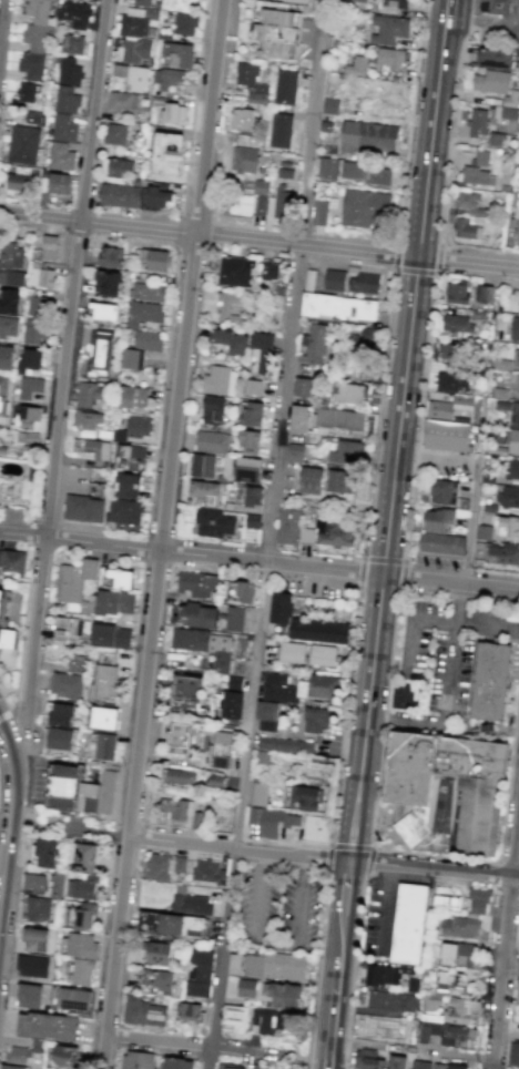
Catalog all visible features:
building: (295, 1)
building: (383, 1)
building: (140, 2)
building: (400, 2)
building: (357, 3)
building: (495, 6)
building: (74, 13)
road: (447, 18)
road: (492, 21)
building: (184, 24)
parking lot: (500, 27)
road: (2, 28)
building: (387, 29)
building: (275, 33)
building: (33, 40)
building: (74, 44)
building: (135, 50)
building: (176, 54)
building: (492, 57)
building: (389, 58)
building: (356, 65)
building: (68, 71)
building: (132, 77)
building: (167, 78)
building: (490, 80)
building: (251, 82)
building: (285, 86)
building: (26, 92)
building: (509, 96)
building: (64, 99)
building: (122, 100)
building: (328, 105)
road: (93, 110)
building: (171, 111)
building: (508, 112)
building: (31, 116)
building: (243, 120)
road: (409, 120)
building: (476, 120)
road: (452, 121)
building: (62, 128)
building: (281, 130)
building: (114, 133)
building: (367, 136)
building: (495, 138)
building: (21, 144)
building: (167, 153)
building: (59, 155)
building: (243, 159)
building: (115, 166)
building: (326, 167)
building: (477, 170)
building: (364, 172)
building: (17, 182)
building: (57, 183)
building: (135, 195)
building: (281, 202)
building: (259, 203)
building: (468, 203)
building: (363, 207)
building: (319, 212)
building: (465, 228)
building: (517, 230)
road: (259, 241)
building: (48, 246)
building: (110, 256)
building: (154, 259)
building: (11, 264)
building: (268, 269)
building: (233, 271)
road: (413, 272)
building: (40, 275)
building: (334, 279)
building: (363, 282)
building: (106, 283)
building: (455, 291)
building: (147, 292)
building: (482, 293)
building: (9, 301)
building: (518, 302)
building: (38, 305)
building: (228, 306)
building: (337, 306)
building: (103, 310)
building: (146, 312)
building: (456, 325)
building: (8, 326)
building: (515, 329)
building: (34, 332)
building: (362, 336)
building: (146, 339)
building: (231, 340)
building: (312, 345)
building: (448, 350)
building: (99, 353)
building: (261, 353)
building: (6, 356)
building: (516, 357)
building: (132, 358)
building: (30, 359)
road: (63, 378)
building: (218, 380)
building: (450, 383)
building: (515, 383)
building: (30, 386)
building: (253, 387)
building: (301, 387)
building: (348, 393)
building: (3, 394)
building: (88, 394)
building: (133, 396)
building: (212, 408)
building: (439, 409)
building: (251, 414)
road: (376, 414)
building: (513, 415)
building: (28, 417)
building: (298, 418)
building: (338, 418)
road: (419, 418)
building: (88, 419)
road: (283, 425)
building: (132, 428)
building: (29, 437)
building: (446, 437)
building: (211, 441)
building: (247, 441)
building: (512, 441)
building: (92, 448)
road: (400, 448)
building: (3, 449)
building: (293, 452)
building: (346, 452)
road: (439, 456)
building: (131, 457)
building: (201, 465)
building: (246, 469)
building: (512, 469)
building: (309, 480)
building: (338, 481)
building: (128, 485)
building: (95, 488)
building: (205, 491)
building: (442, 491)
building: (1, 493)
building: (251, 496)
building: (508, 496)
building: (83, 508)
building: (123, 511)
road: (164, 517)
building: (252, 520)
building: (438, 520)
building: (213, 522)
road: (472, 522)
building: (287, 526)
building: (508, 526)
building: (482, 531)
building: (334, 532)
road: (23, 534)
building: (305, 534)
building: (424, 547)
building: (439, 548)
building: (454, 549)
building: (497, 552)
building: (12, 559)
road: (381, 560)
road: (283, 563)
building: (115, 578)
building: (196, 583)
building: (70, 584)
building: (240, 591)
building: (2, 609)
building: (199, 614)
building: (233, 618)
building: (304, 622)
building: (68, 628)
road: (489, 630)
road: (35, 631)
building: (110, 635)
building: (204, 645)
parking lot: (449, 648)
building: (292, 651)
building: (322, 654)
road: (456, 655)
building: (75, 662)
building: (105, 674)
building: (233, 682)
building: (64, 684)
building: (495, 684)
building: (297, 688)
building: (184, 692)
building: (400, 695)
building: (231, 704)
road: (20, 707)
road: (6, 714)
building: (60, 714)
building: (266, 715)
building: (103, 717)
building: (317, 720)
road: (410, 722)
road: (457, 726)
building: (177, 737)
road: (471, 737)
building: (55, 739)
building: (284, 744)
road: (515, 745)
building: (104, 746)
road: (10, 749)
road: (338, 762)
building: (176, 775)
road: (0, 787)
building: (60, 787)
building: (258, 793)
building: (446, 793)
building: (96, 794)
building: (303, 796)
road: (113, 813)
road: (372, 815)
building: (197, 819)
building: (272, 821)
road: (390, 821)
building: (315, 828)
road: (515, 842)
road: (354, 846)
building: (45, 853)
road: (9, 855)
road: (294, 855)
building: (83, 857)
building: (179, 864)
building: (156, 866)
building: (207, 872)
building: (33, 880)
building: (82, 887)
road: (348, 894)
building: (478, 900)
building: (191, 902)
building: (446, 902)
road: (1, 906)
road: (386, 907)
building: (37, 908)
parking lot: (276, 910)
building: (81, 915)
parking lot: (381, 916)
road: (324, 923)
building: (172, 924)
building: (410, 924)
building: (458, 926)
building: (33, 938)
building: (81, 945)
road: (275, 946)
road: (224, 948)
building: (155, 953)
building: (457, 954)
building: (31, 966)
building: (274, 966)
building: (81, 971)
building: (200, 971)
road: (352, 971)
building: (381, 975)
road: (501, 975)
building: (157, 981)
building: (454, 981)
road: (339, 984)
building: (246, 988)
building: (517, 989)
building: (28, 995)
building: (284, 995)
building: (71, 998)
building: (391, 1000)
building: (460, 1009)
building: (143, 1011)
building: (189, 1011)
building: (234, 1018)
building: (268, 1020)
building: (441, 1024)
building: (47, 1026)
road: (202, 1045)
road: (413, 1050)
road: (104, 1051)
building: (16, 1053)
building: (512, 1053)
road: (332, 1055)
building: (63, 1056)
road: (211, 1058)
building: (367, 1059)
building: (136, 1060)
road: (314, 1061)
building: (176, 1062)
building: (396, 1062)
building: (434, 1065)
building: (230, 1066)
building: (255, 1066)
building: (11, 1067)

